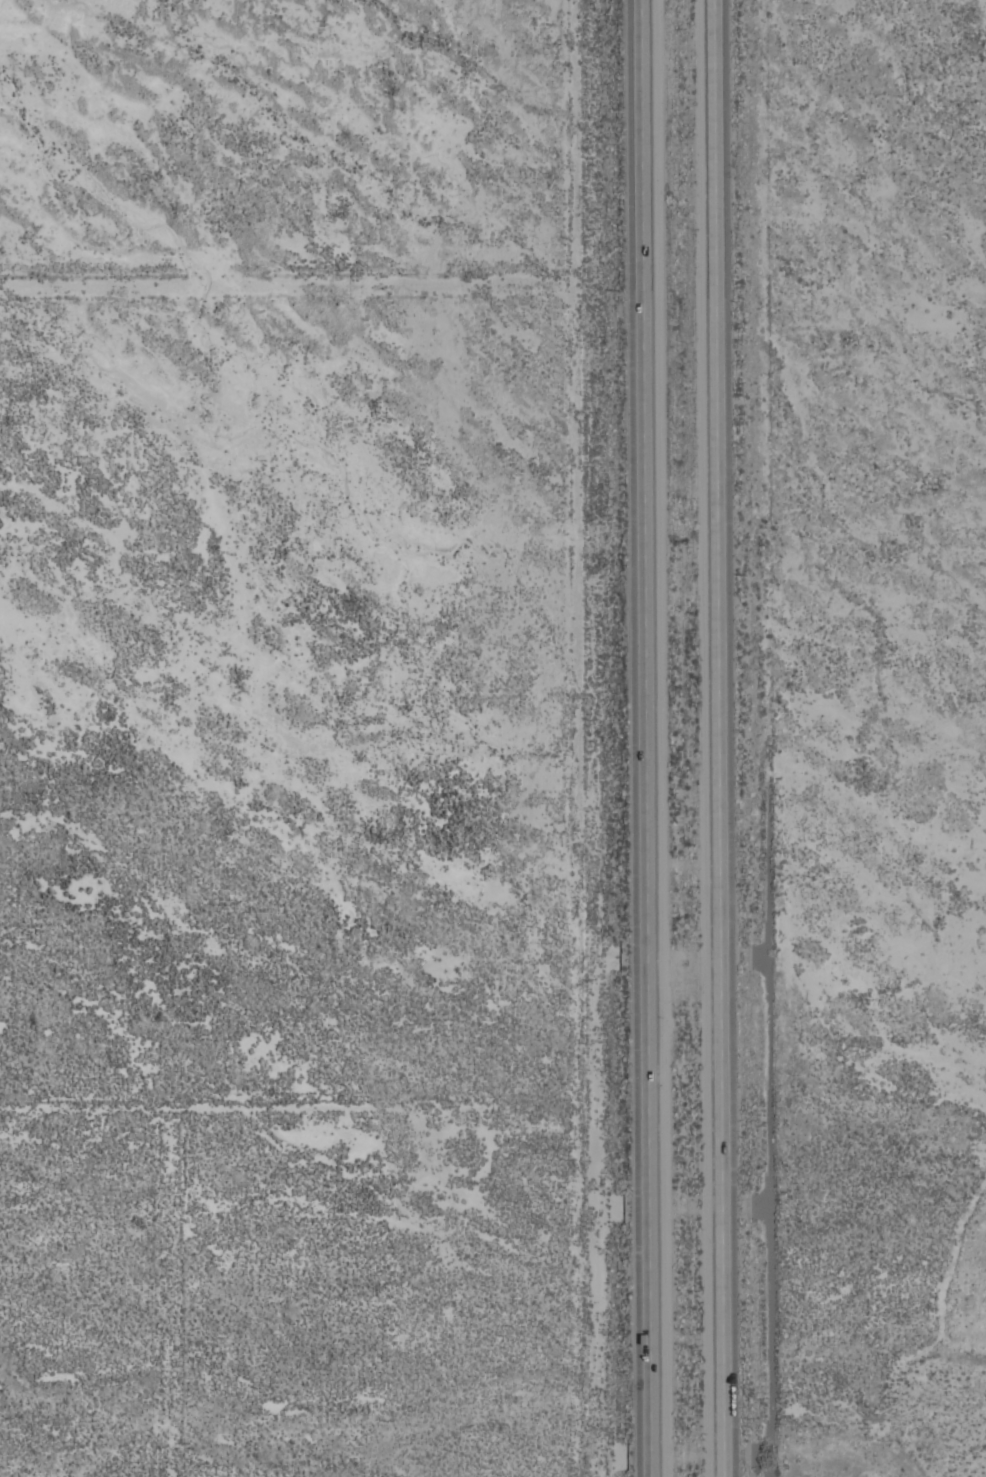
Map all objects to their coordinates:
railway: (802, 33)
railway: (792, 36)
railway: (904, 198)
railway: (900, 209)
road: (645, 738)
road: (719, 738)

